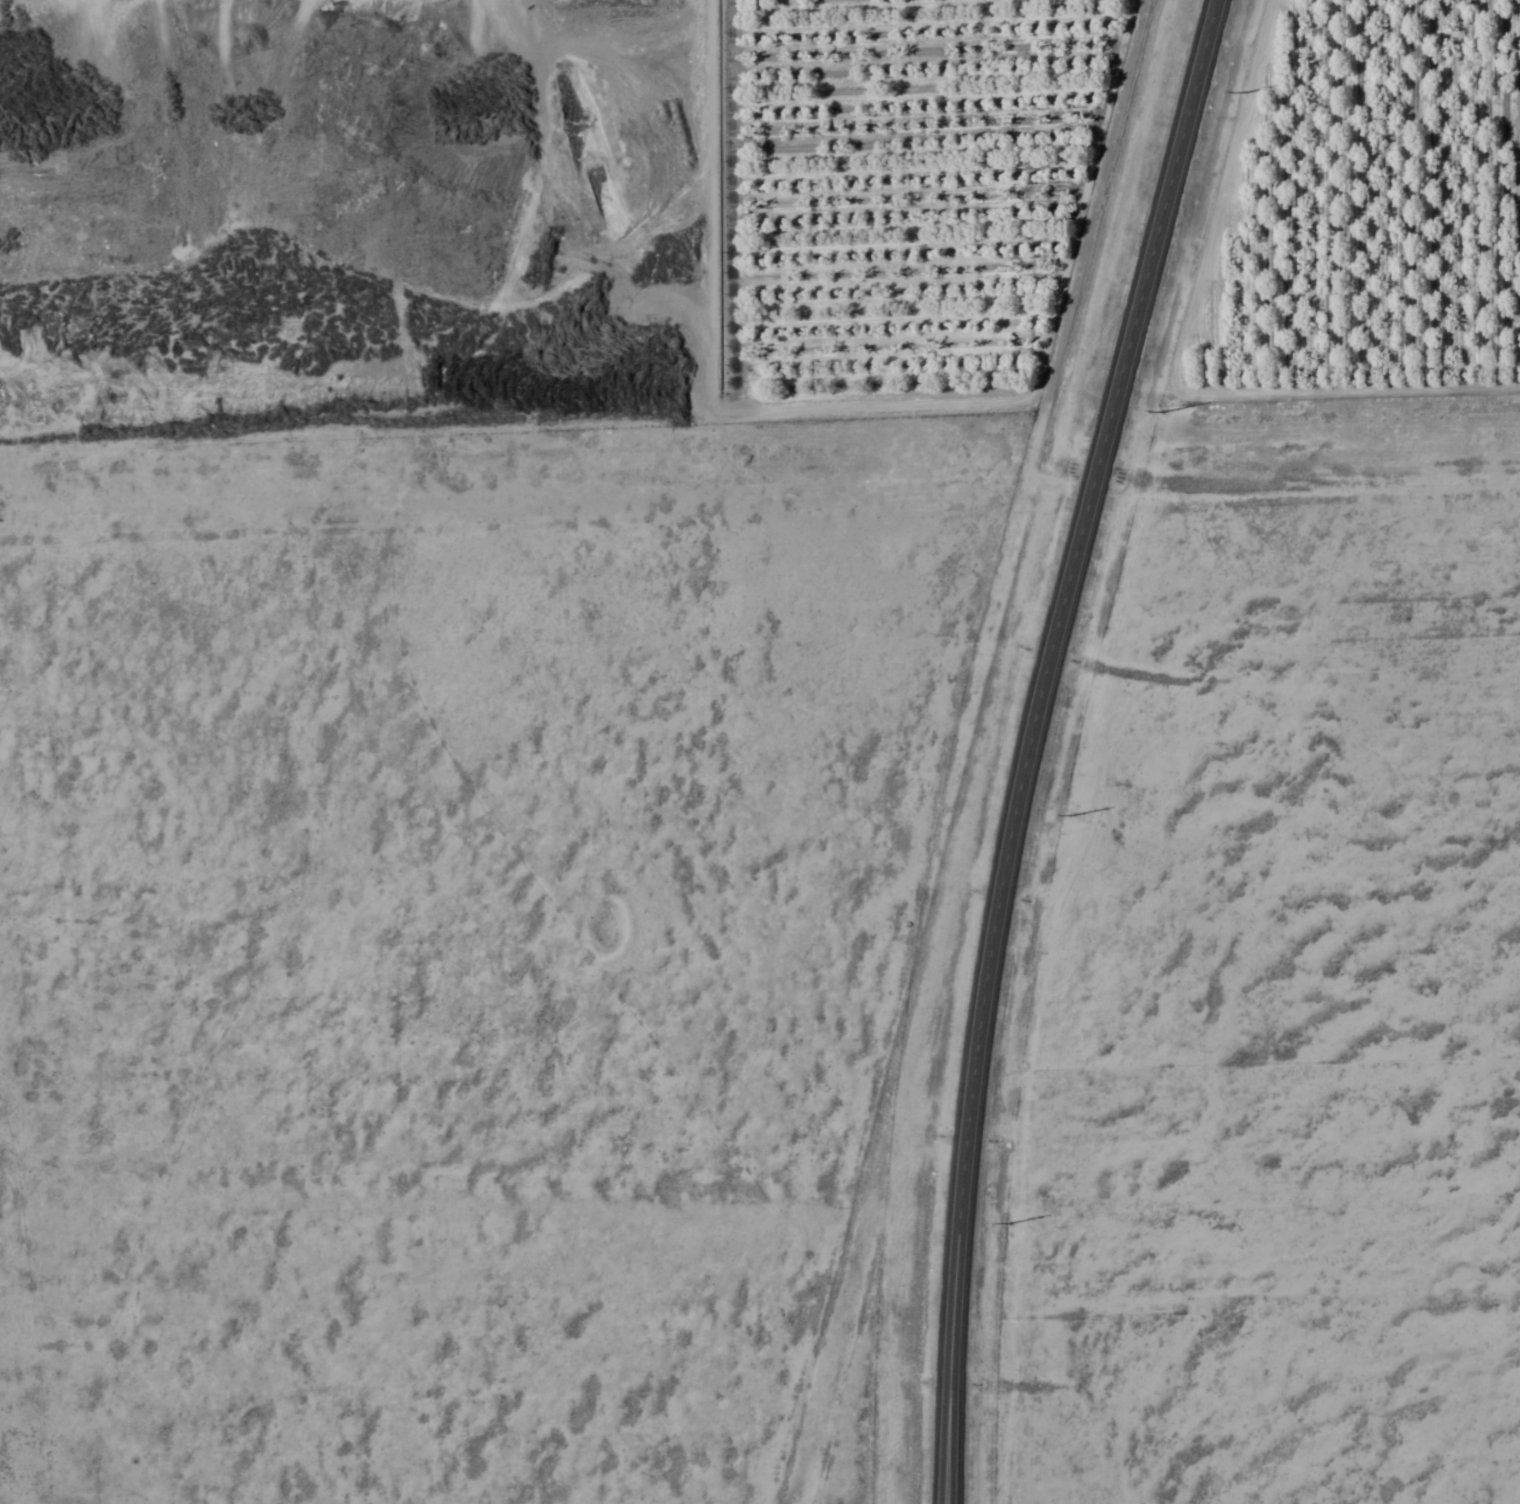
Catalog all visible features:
road: (1151, 249)
road: (545, 493)
road: (1304, 495)
road: (982, 997)

